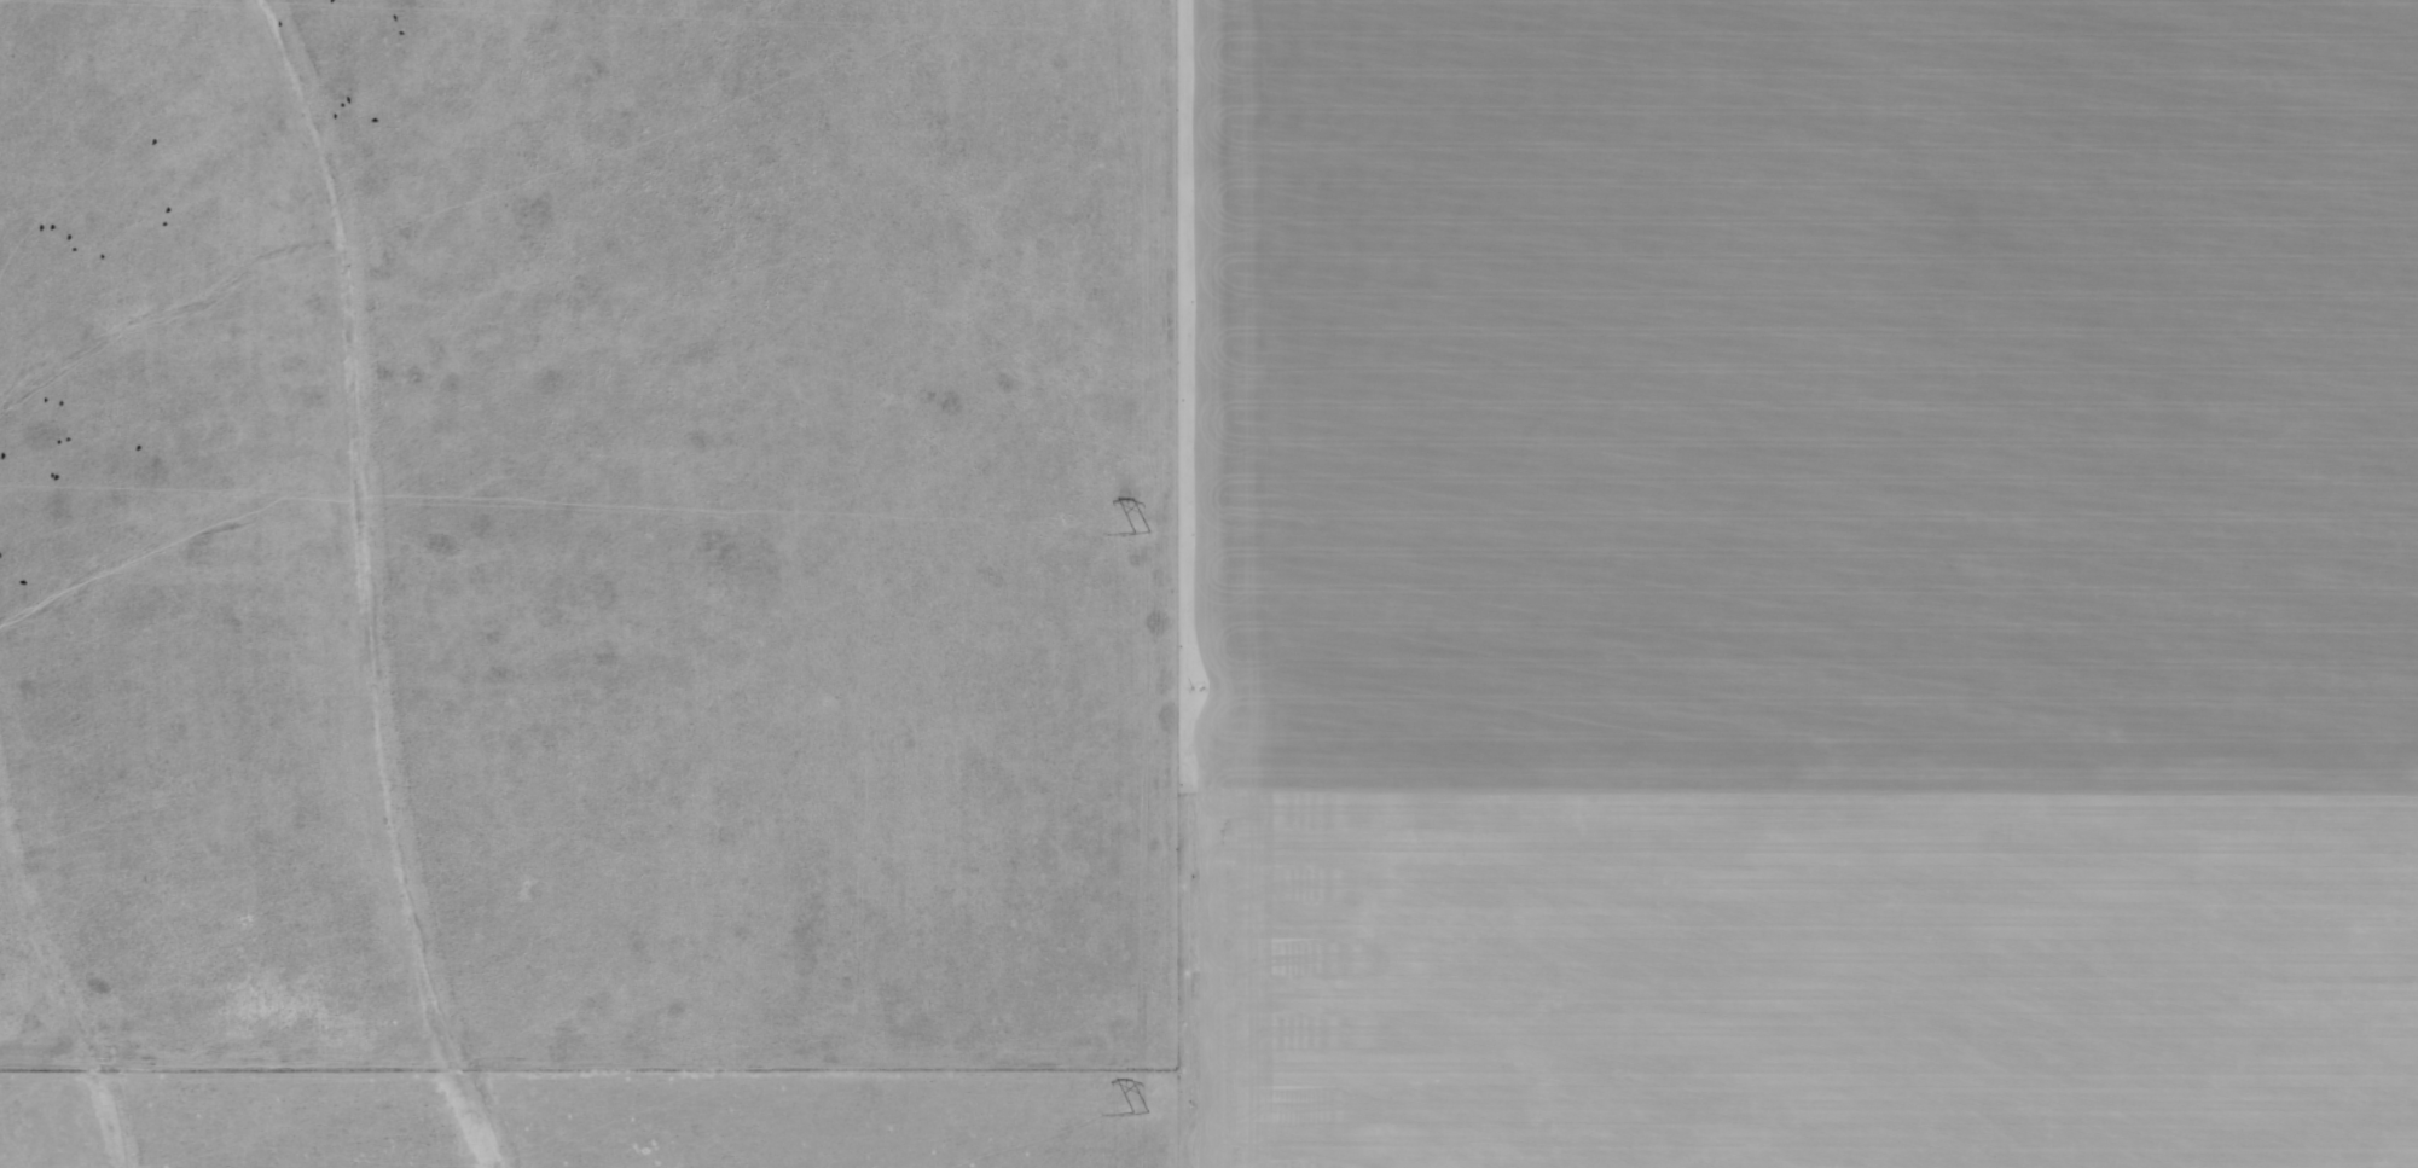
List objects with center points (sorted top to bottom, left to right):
power tower: (1141, 531)
road: (1033, 579)
power tower: (1136, 1116)

